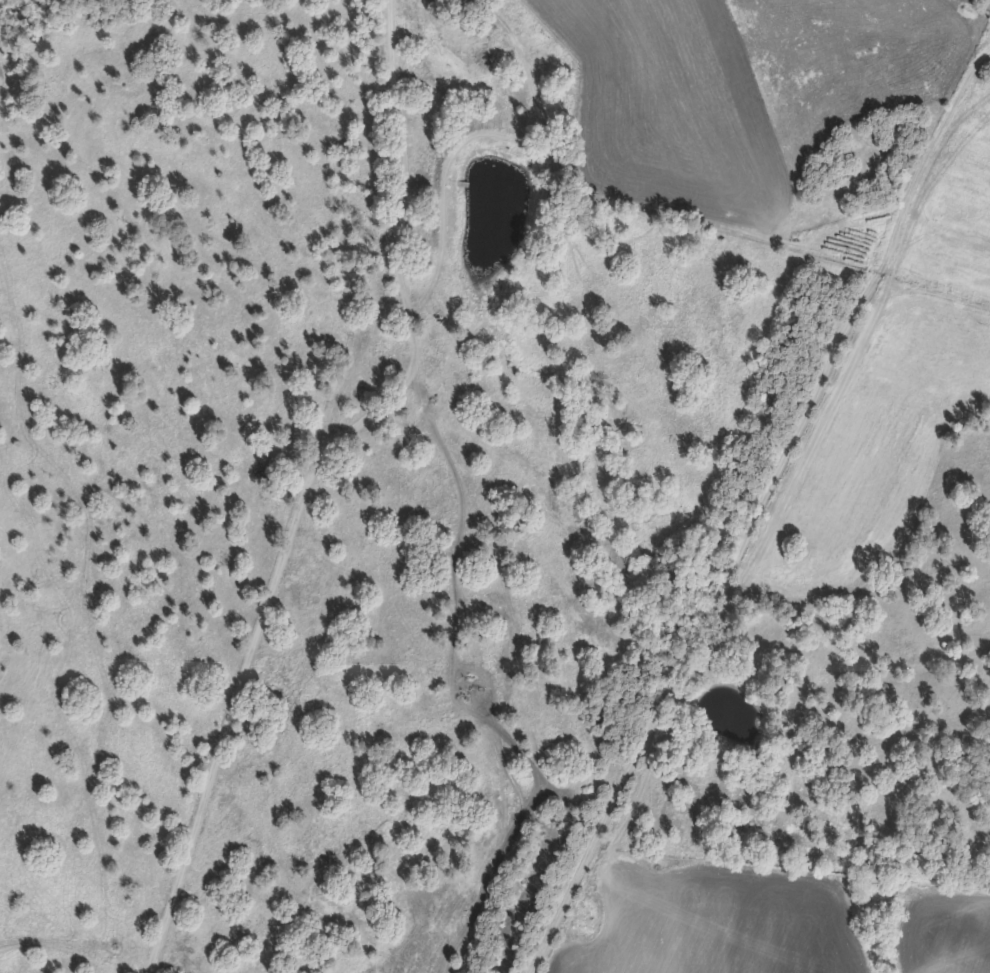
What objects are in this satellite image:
road: (309, 477)

